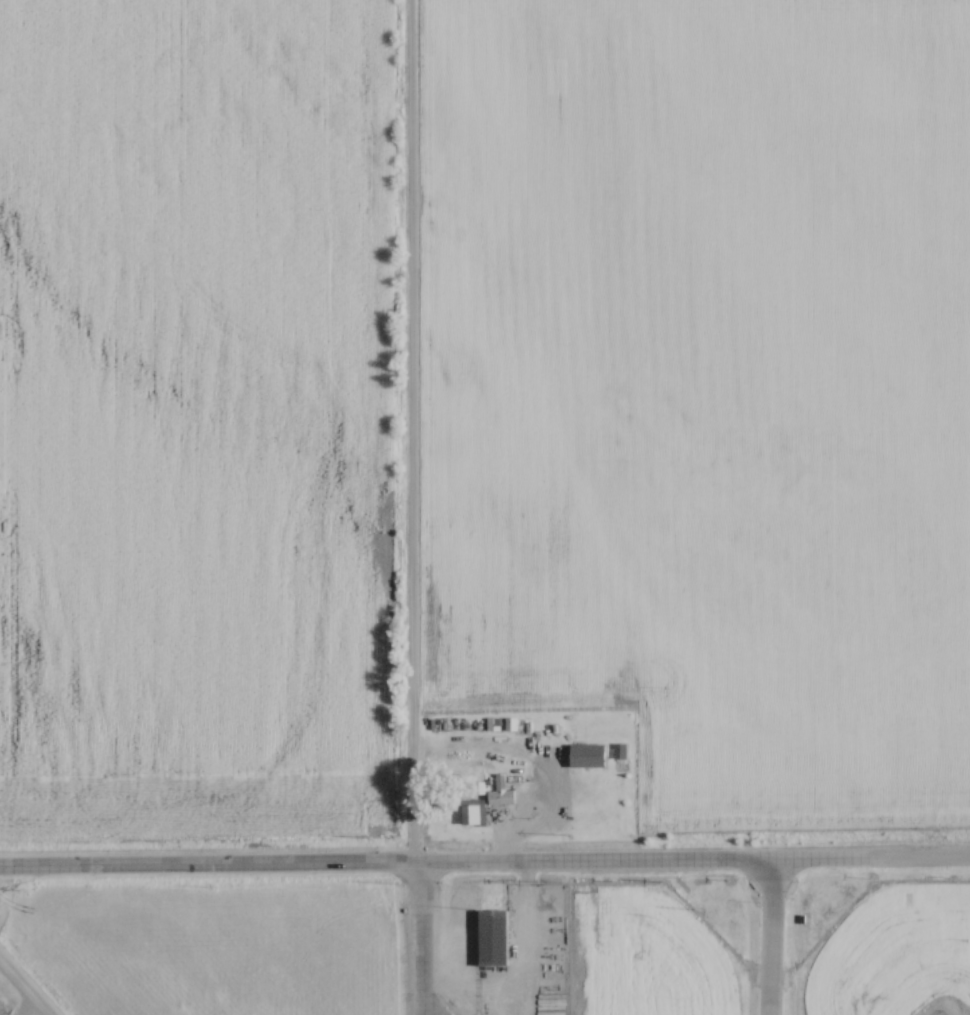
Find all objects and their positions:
road: (410, 431)
building: (594, 755)
building: (501, 797)
road: (535, 797)
building: (474, 812)
road: (698, 858)
road: (213, 864)
road: (770, 936)
building: (494, 937)
road: (428, 938)
road: (520, 968)
power substation: (942, 1013)

